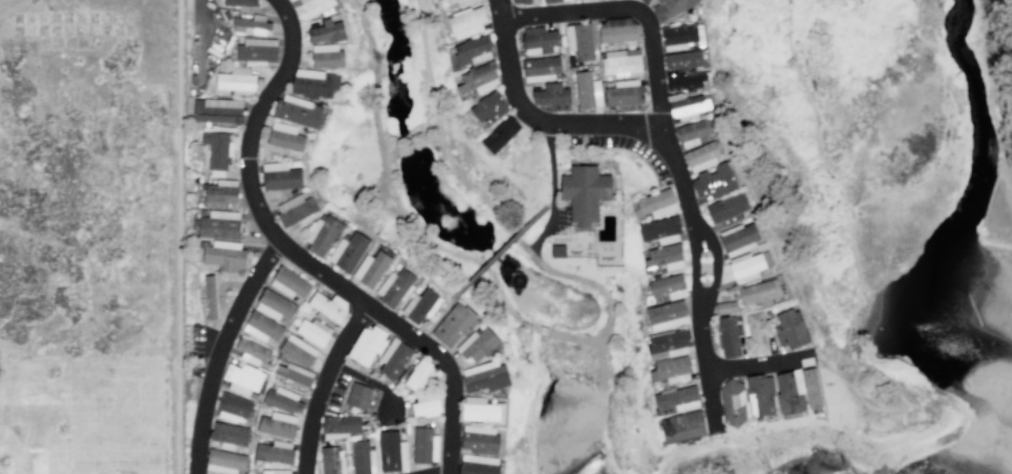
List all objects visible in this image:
building: (643, 0)
building: (520, 1)
building: (553, 1)
building: (241, 2)
building: (455, 3)
building: (319, 6)
road: (632, 8)
building: (670, 8)
road: (203, 18)
building: (466, 21)
building: (252, 25)
building: (618, 30)
building: (326, 31)
building: (680, 36)
building: (538, 39)
building: (579, 40)
parking lot: (201, 42)
building: (257, 50)
building: (472, 50)
building: (326, 55)
building: (682, 59)
building: (621, 63)
building: (540, 68)
building: (478, 77)
building: (236, 79)
building: (685, 81)
building: (314, 83)
building: (587, 90)
building: (624, 92)
building: (552, 96)
building: (687, 106)
building: (489, 107)
building: (217, 109)
building: (298, 110)
road: (254, 119)
road: (584, 127)
building: (693, 132)
building: (500, 134)
building: (285, 136)
road: (409, 138)
building: (216, 149)
building: (701, 156)
parking lot: (651, 157)
building: (280, 175)
building: (713, 180)
road: (553, 191)
building: (584, 191)
building: (221, 192)
park: (882, 201)
road: (549, 202)
building: (657, 202)
building: (727, 208)
building: (296, 210)
parking lot: (560, 216)
building: (220, 224)
building: (660, 230)
building: (322, 233)
road: (177, 236)
building: (738, 238)
building: (558, 250)
building: (347, 251)
road: (498, 251)
building: (225, 255)
building: (663, 256)
building: (745, 266)
building: (371, 268)
road: (715, 268)
road: (694, 270)
building: (288, 282)
building: (395, 287)
building: (666, 288)
road: (220, 290)
building: (759, 292)
building: (210, 296)
building: (274, 304)
building: (424, 305)
building: (725, 306)
building: (327, 307)
building: (666, 314)
road: (435, 318)
building: (454, 324)
road: (874, 325)
building: (262, 326)
building: (790, 328)
building: (313, 332)
building: (757, 332)
road: (411, 333)
building: (729, 335)
road: (581, 340)
building: (476, 343)
building: (669, 343)
building: (367, 345)
parking lot: (199, 346)
building: (251, 350)
building: (296, 350)
road: (222, 351)
building: (394, 357)
road: (755, 363)
road: (601, 368)
building: (670, 369)
road: (707, 372)
building: (295, 374)
building: (419, 375)
road: (856, 375)
building: (484, 376)
road: (545, 376)
building: (242, 378)
road: (897, 383)
road: (325, 385)
building: (812, 389)
parking lot: (335, 391)
building: (790, 391)
building: (760, 394)
building: (358, 395)
building: (282, 399)
building: (676, 399)
building: (732, 402)
road: (865, 403)
building: (425, 404)
parking lot: (388, 406)
building: (233, 407)
building: (482, 410)
road: (868, 417)
road: (927, 418)
building: (340, 423)
building: (277, 424)
building: (682, 425)
building: (228, 435)
building: (479, 438)
building: (424, 445)
building: (391, 450)
building: (273, 453)
building: (363, 457)
building: (332, 460)
building: (224, 461)
building: (478, 464)
building: (275, 471)

